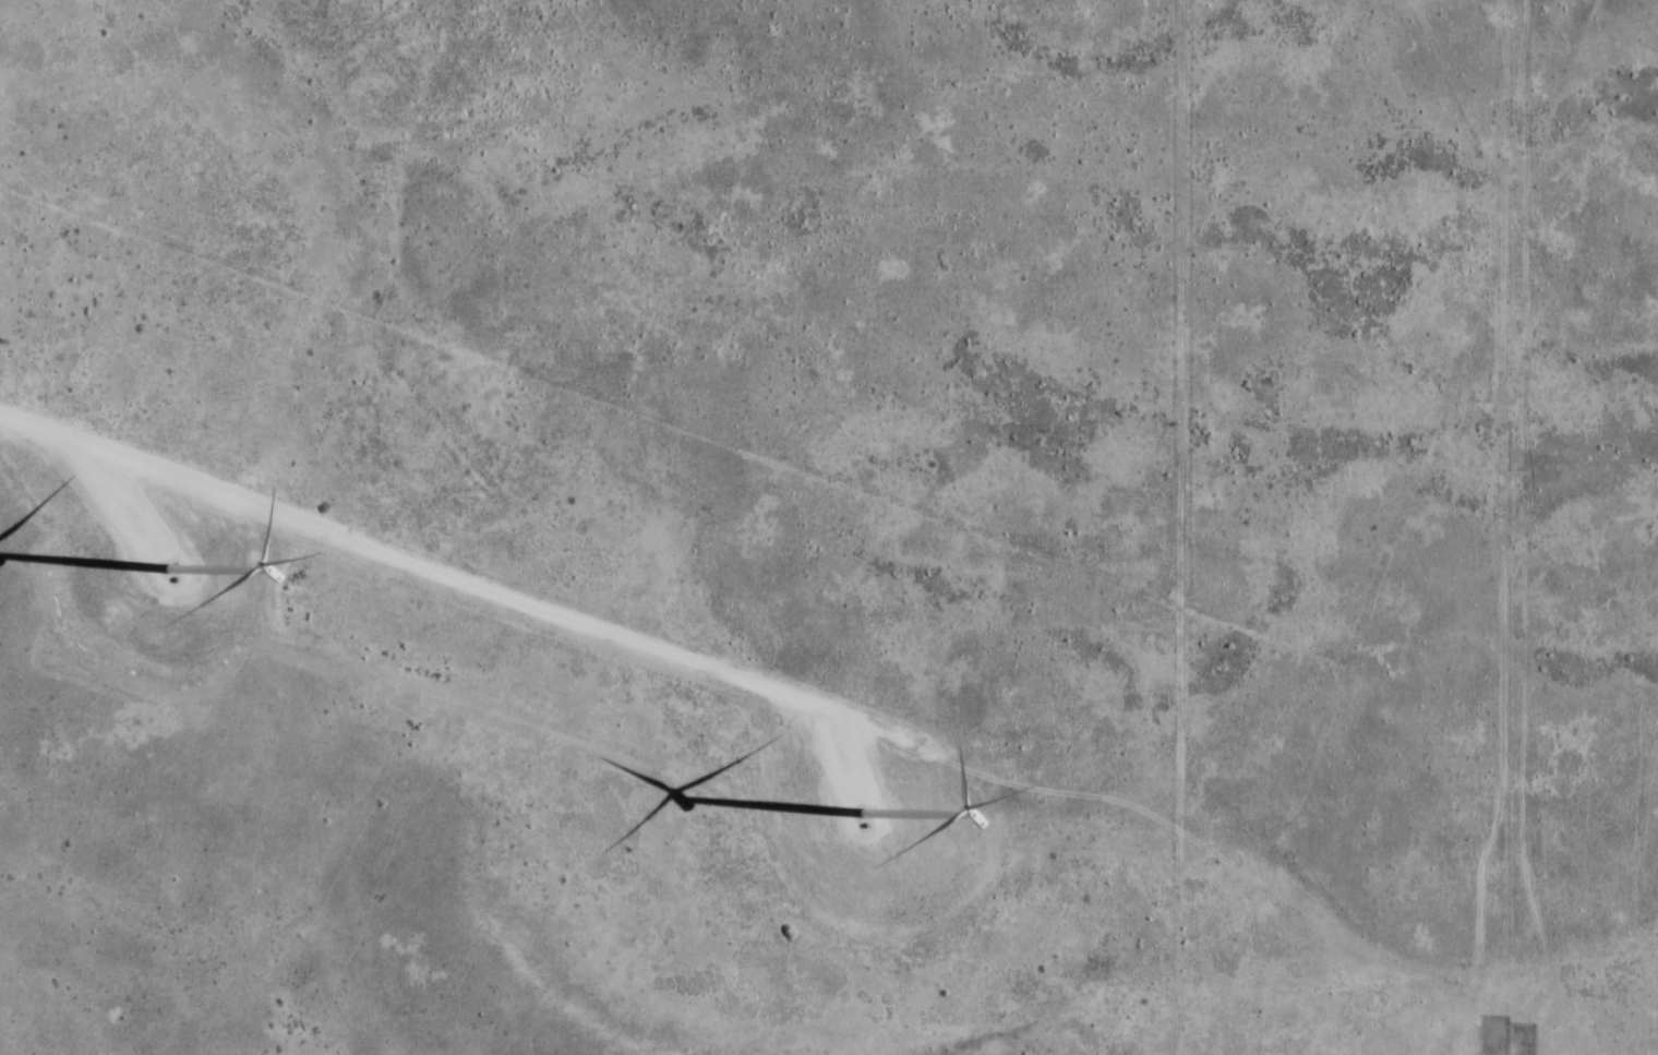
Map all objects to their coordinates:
wind turbine: (173, 556)
wind turbine: (865, 823)

